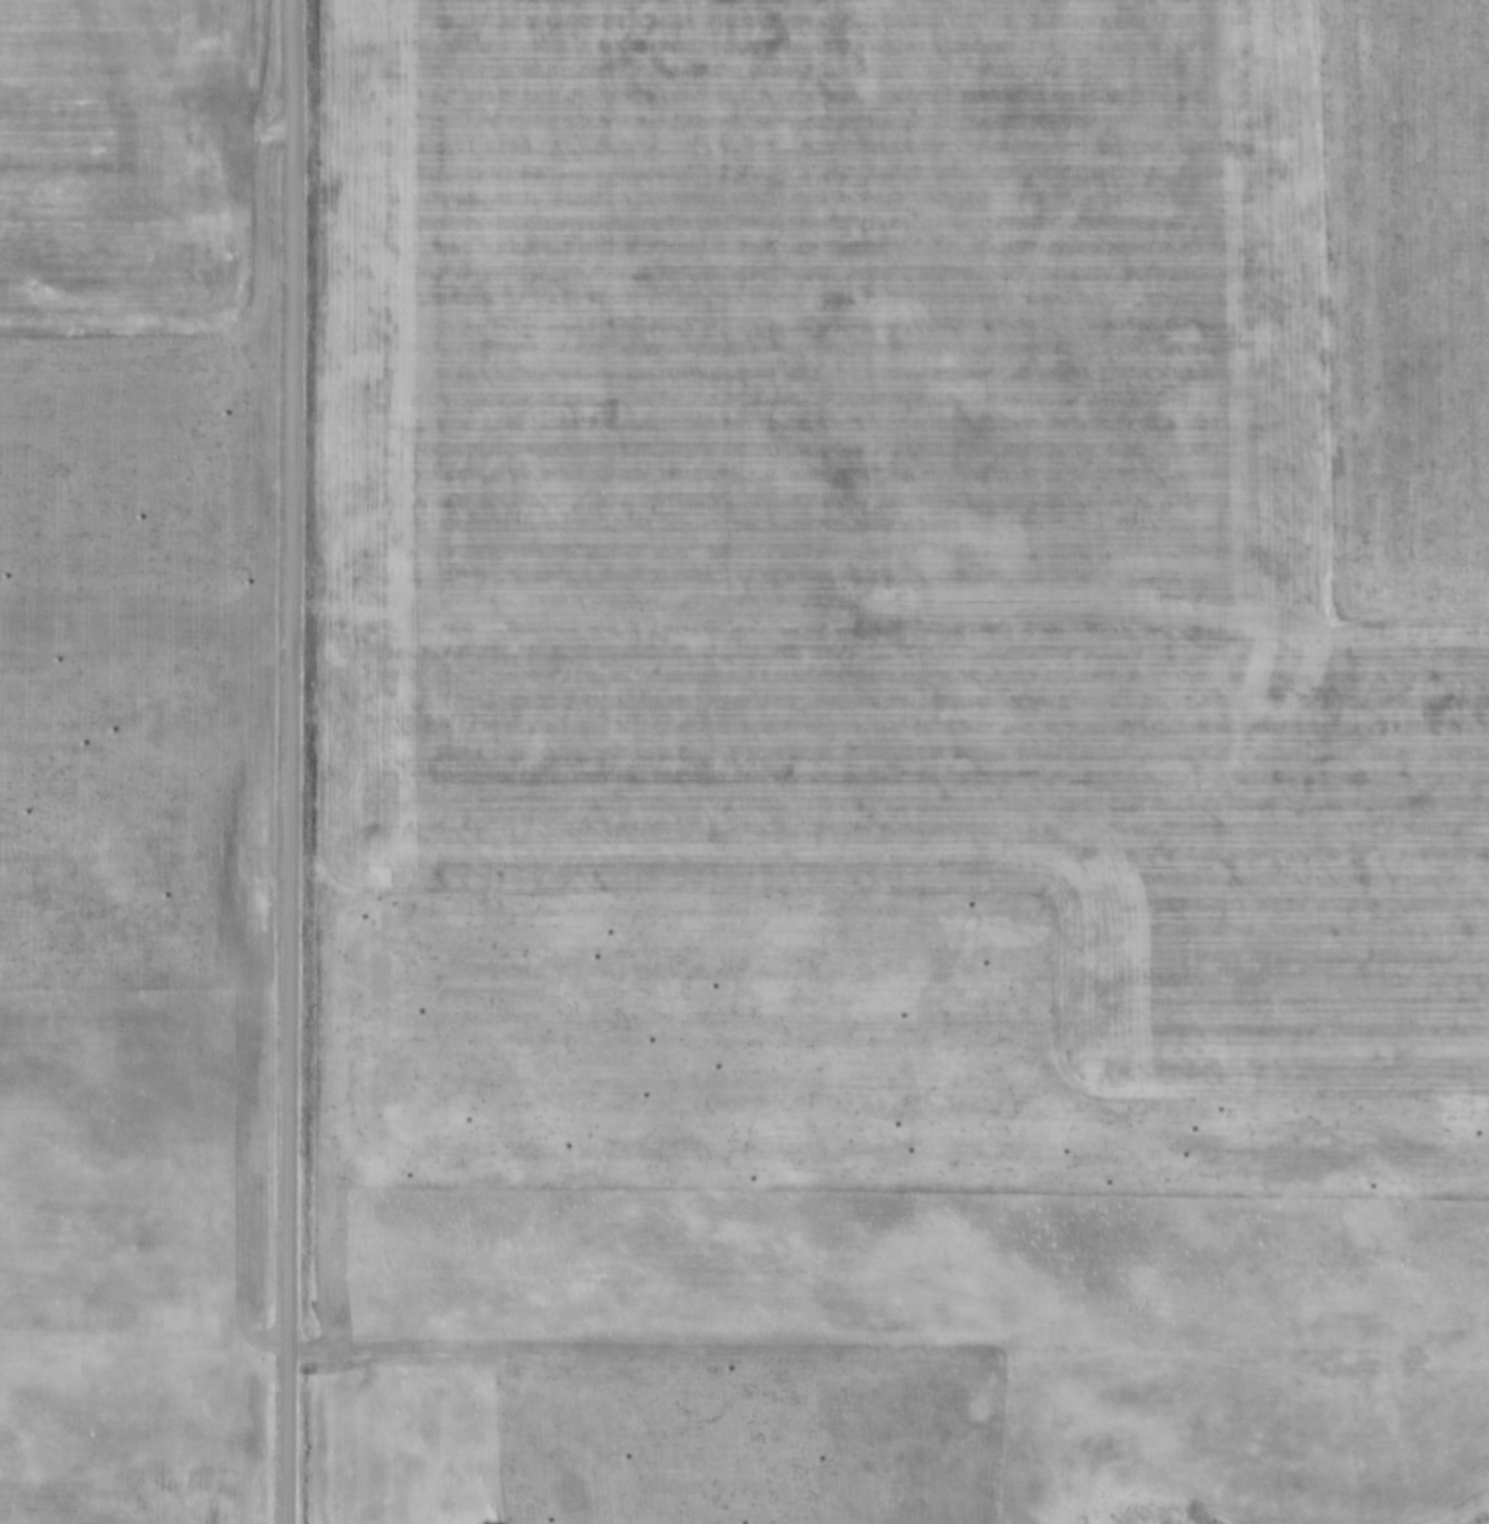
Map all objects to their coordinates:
road: (294, 761)
road: (139, 1388)

